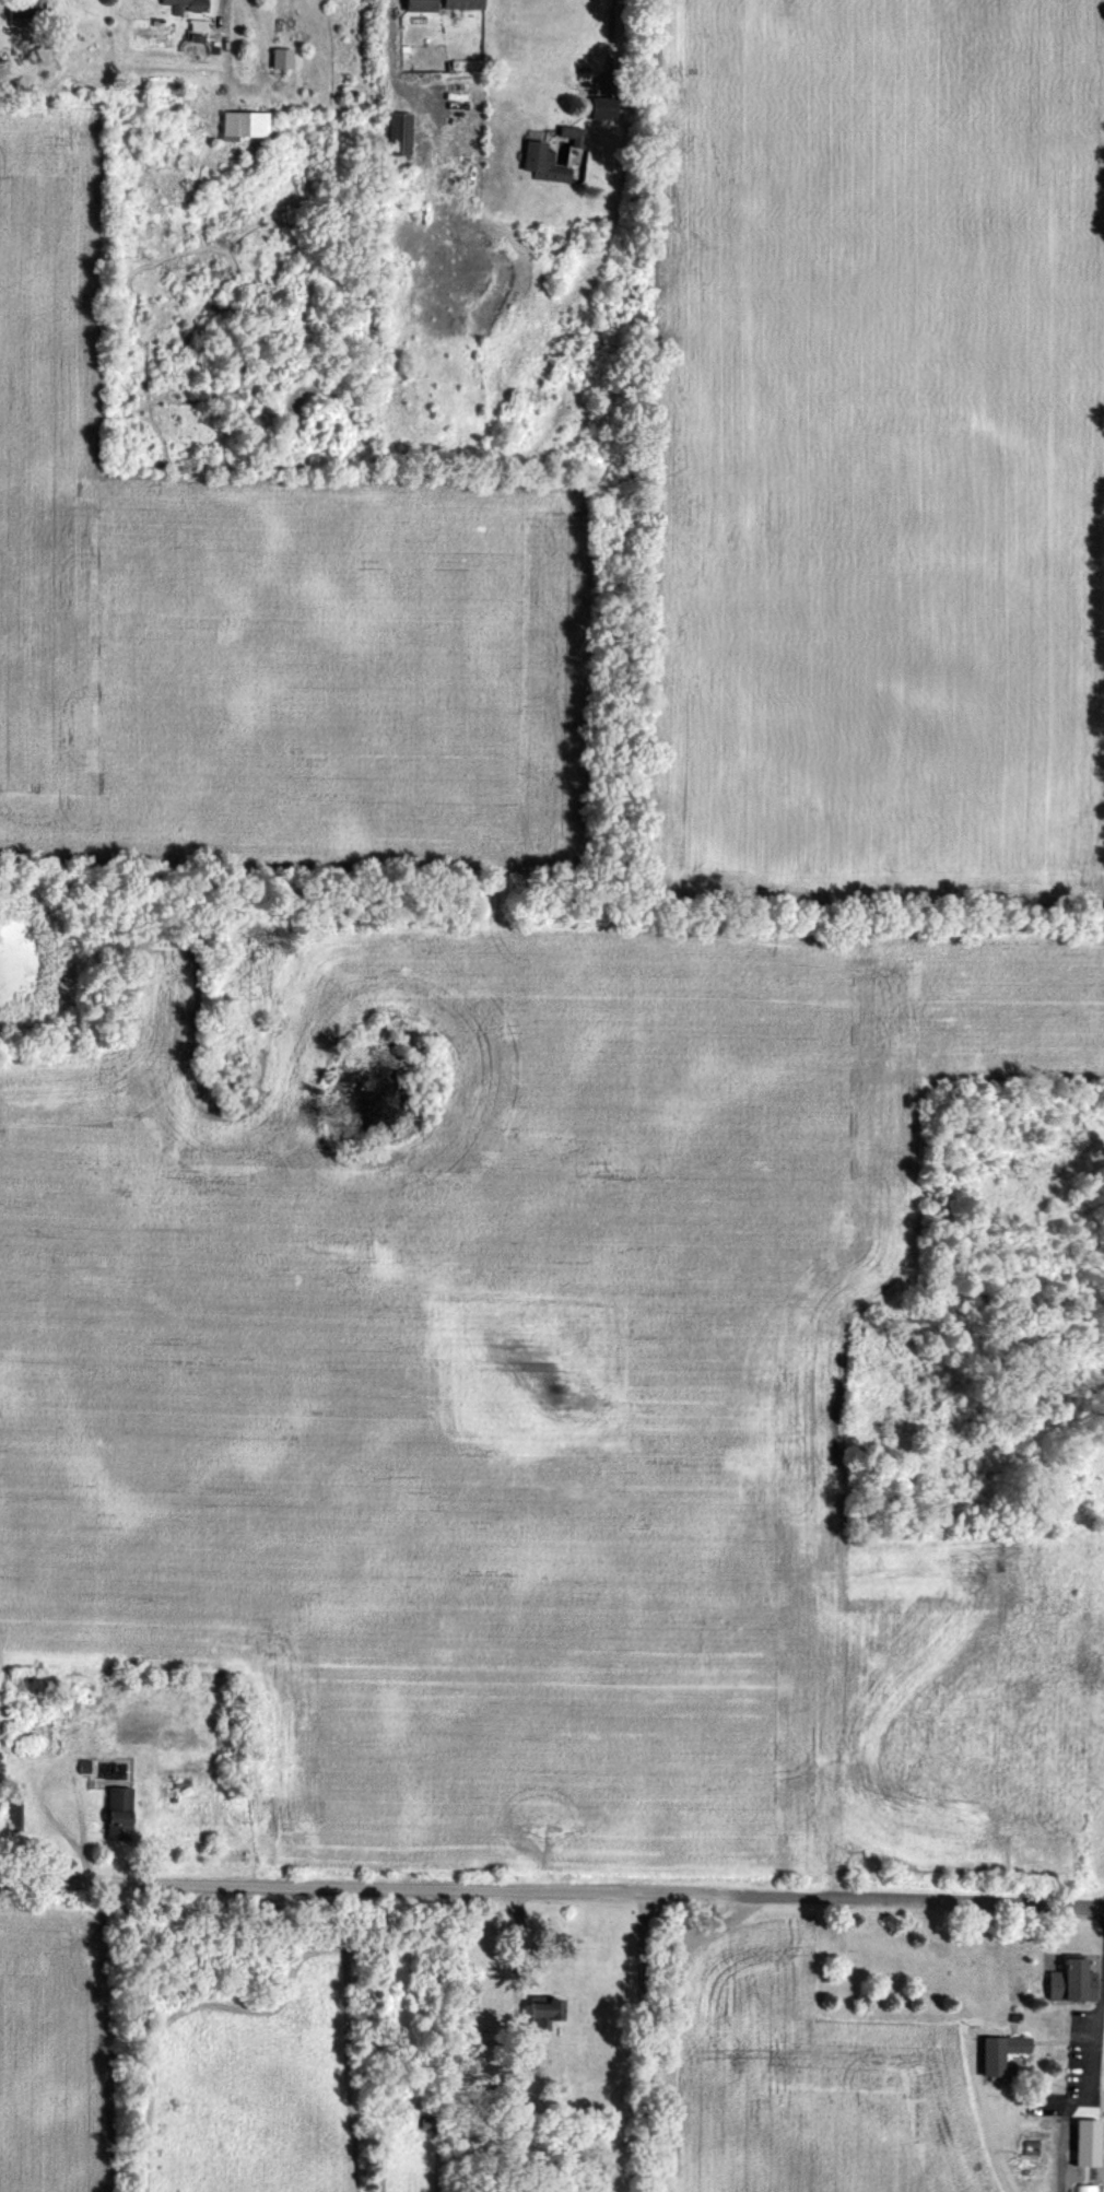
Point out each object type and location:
building: (459, 4)
building: (412, 5)
building: (183, 7)
building: (20, 8)
road: (222, 12)
road: (603, 44)
building: (278, 59)
building: (238, 126)
building: (390, 134)
building: (545, 155)
building: (111, 1814)
road: (552, 1890)
building: (1064, 1979)
road: (1095, 2000)
building: (537, 2012)
road: (782, 2043)
building: (995, 2053)
building: (1081, 2138)
building: (1082, 2188)

